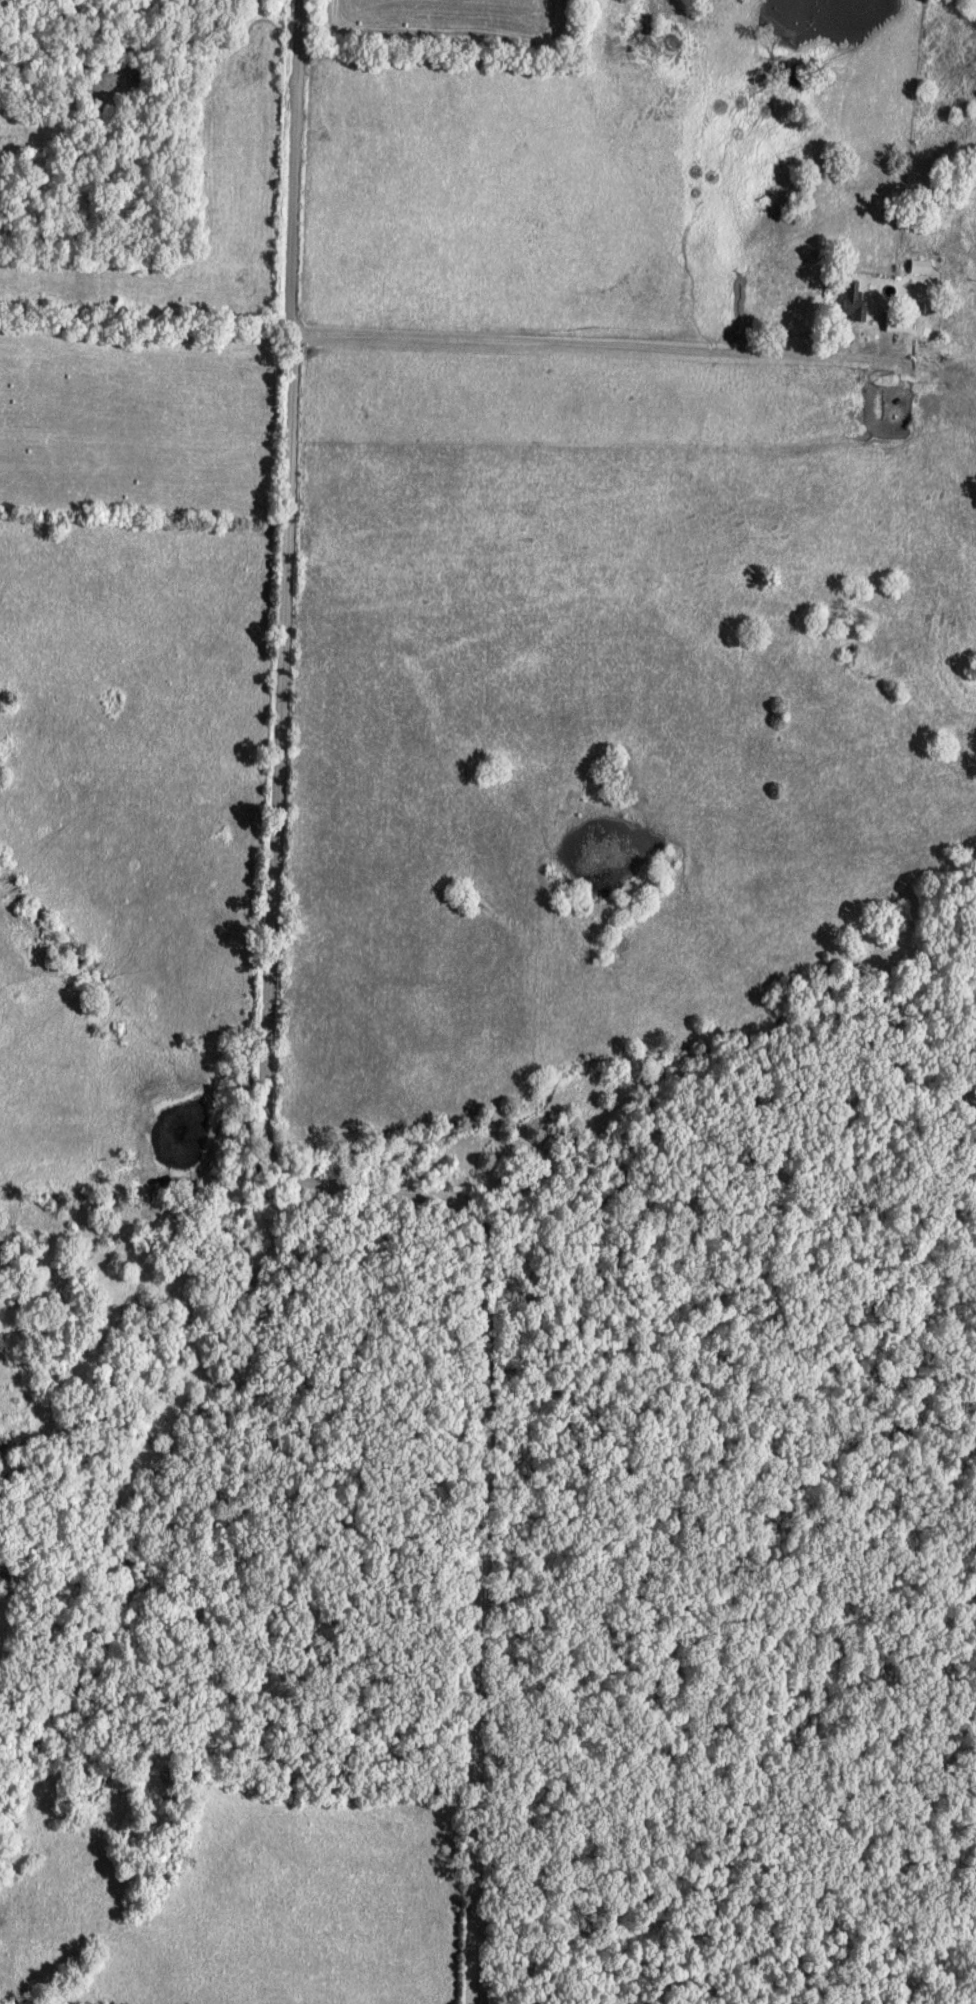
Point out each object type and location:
building: (918, 266)
building: (852, 299)
building: (897, 320)
road: (579, 343)
road: (263, 1087)

